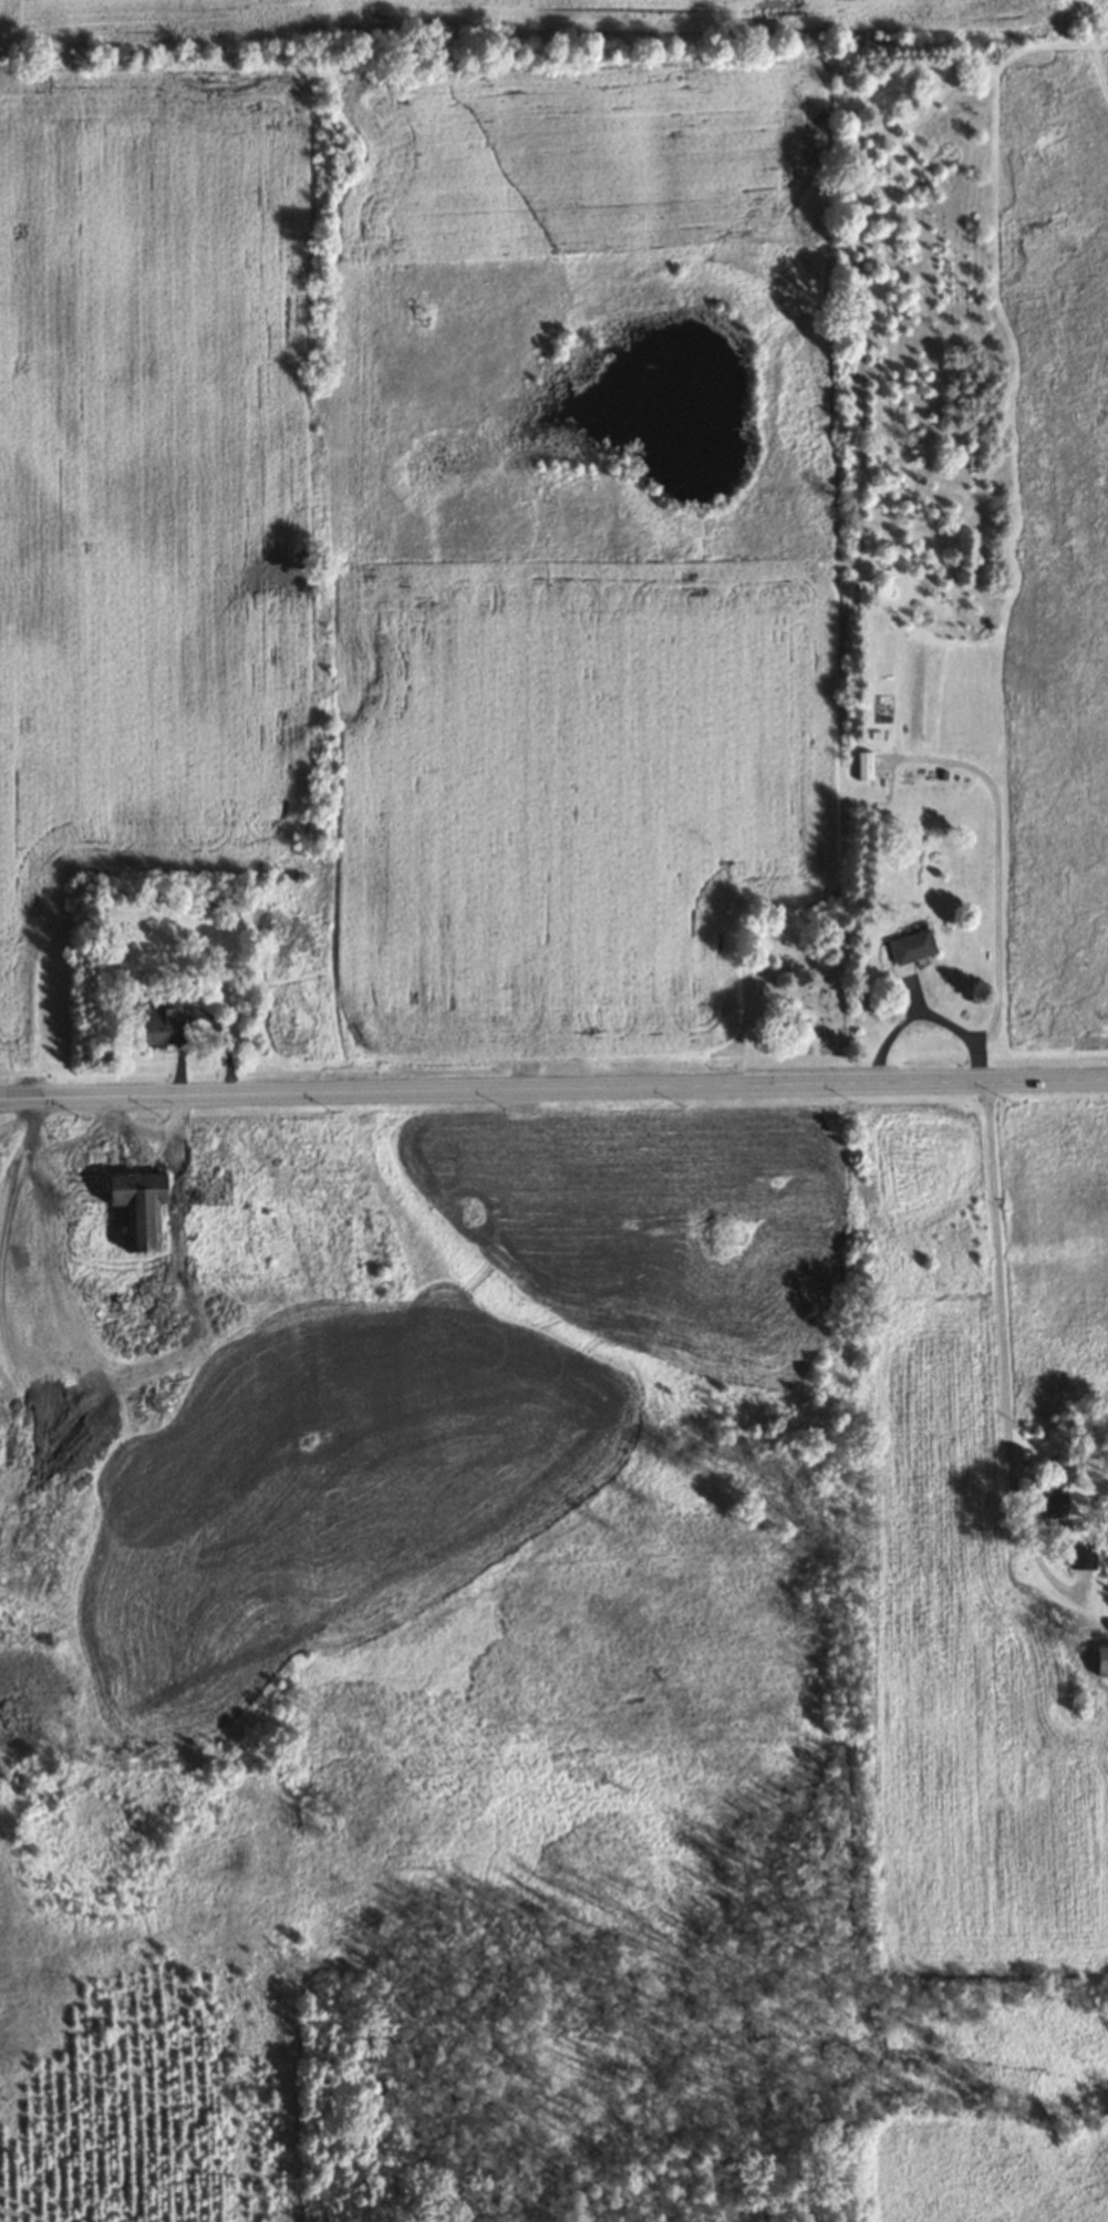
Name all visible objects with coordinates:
building: (863, 765)
building: (911, 947)
building: (157, 1024)
road: (553, 1088)
building: (136, 1206)
road: (1003, 1348)
building: (1049, 1505)
building: (1101, 1661)

